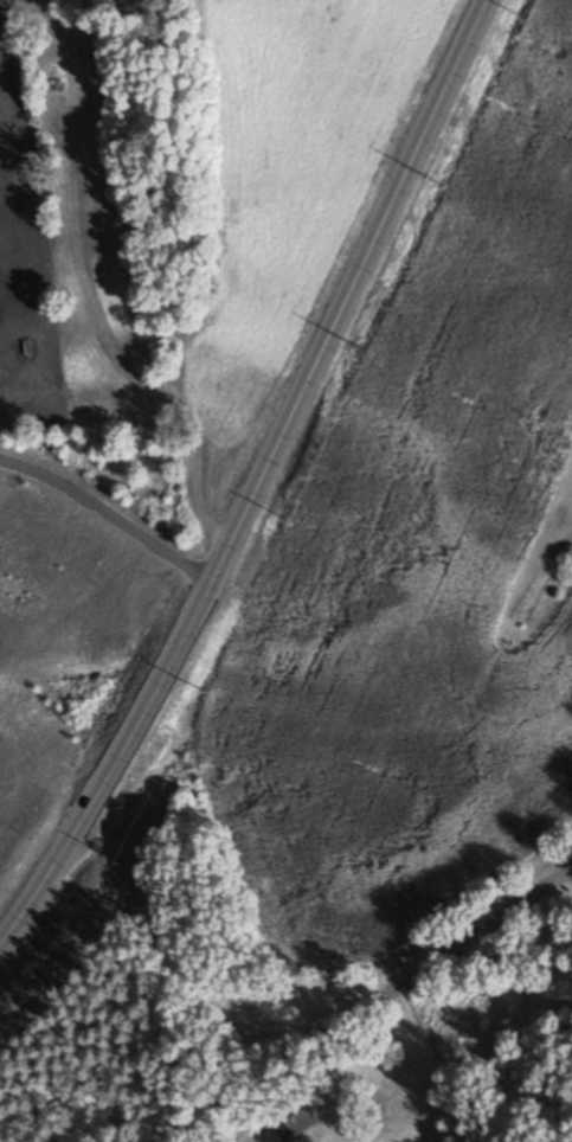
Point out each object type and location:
road: (258, 480)
road: (107, 512)
road: (367, 1003)
building: (293, 1121)

